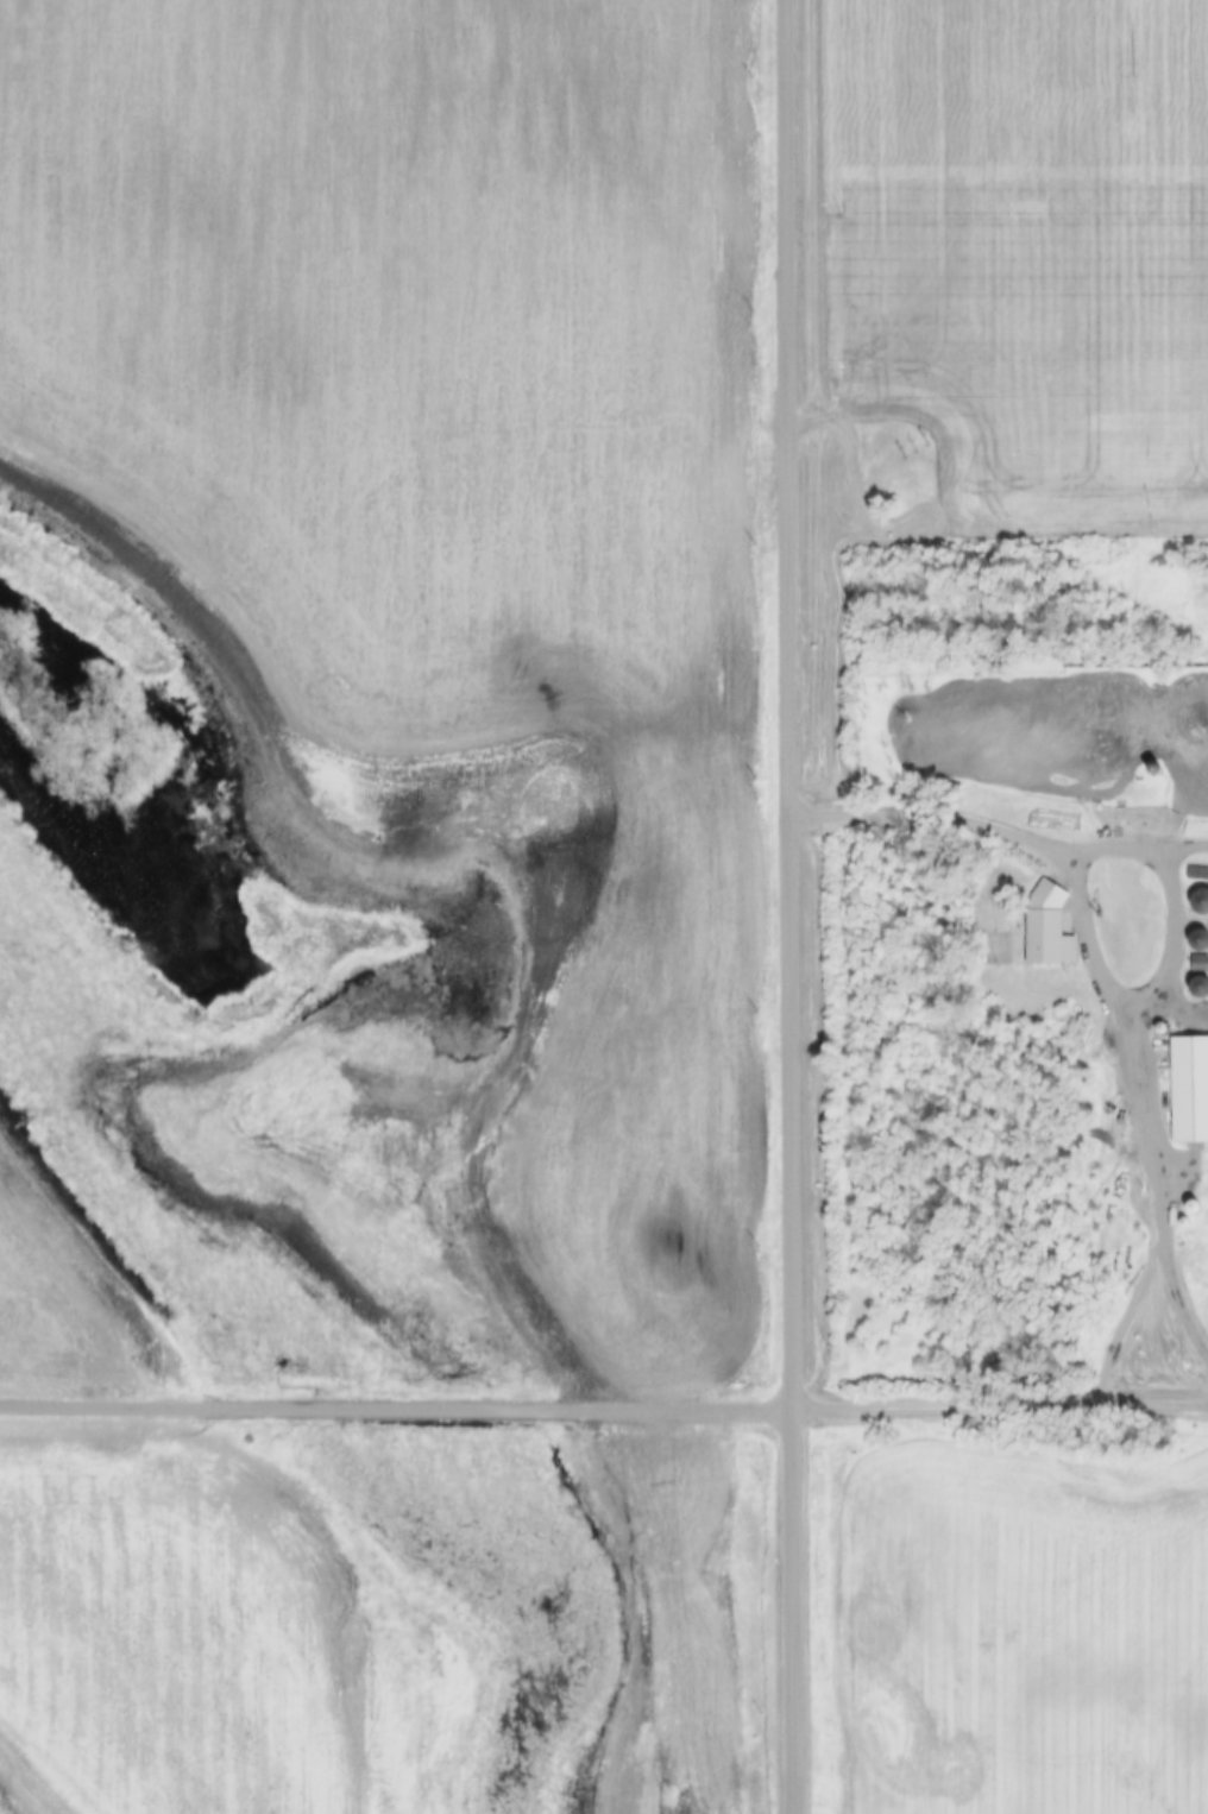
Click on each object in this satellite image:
power tower: (917, 451)
building: (1197, 873)
road: (1169, 888)
building: (1202, 901)
road: (792, 907)
building: (1046, 924)
building: (1201, 939)
building: (994, 949)
road: (1102, 960)
building: (1201, 985)
building: (1189, 1089)
road: (1001, 1404)
road: (396, 1409)

